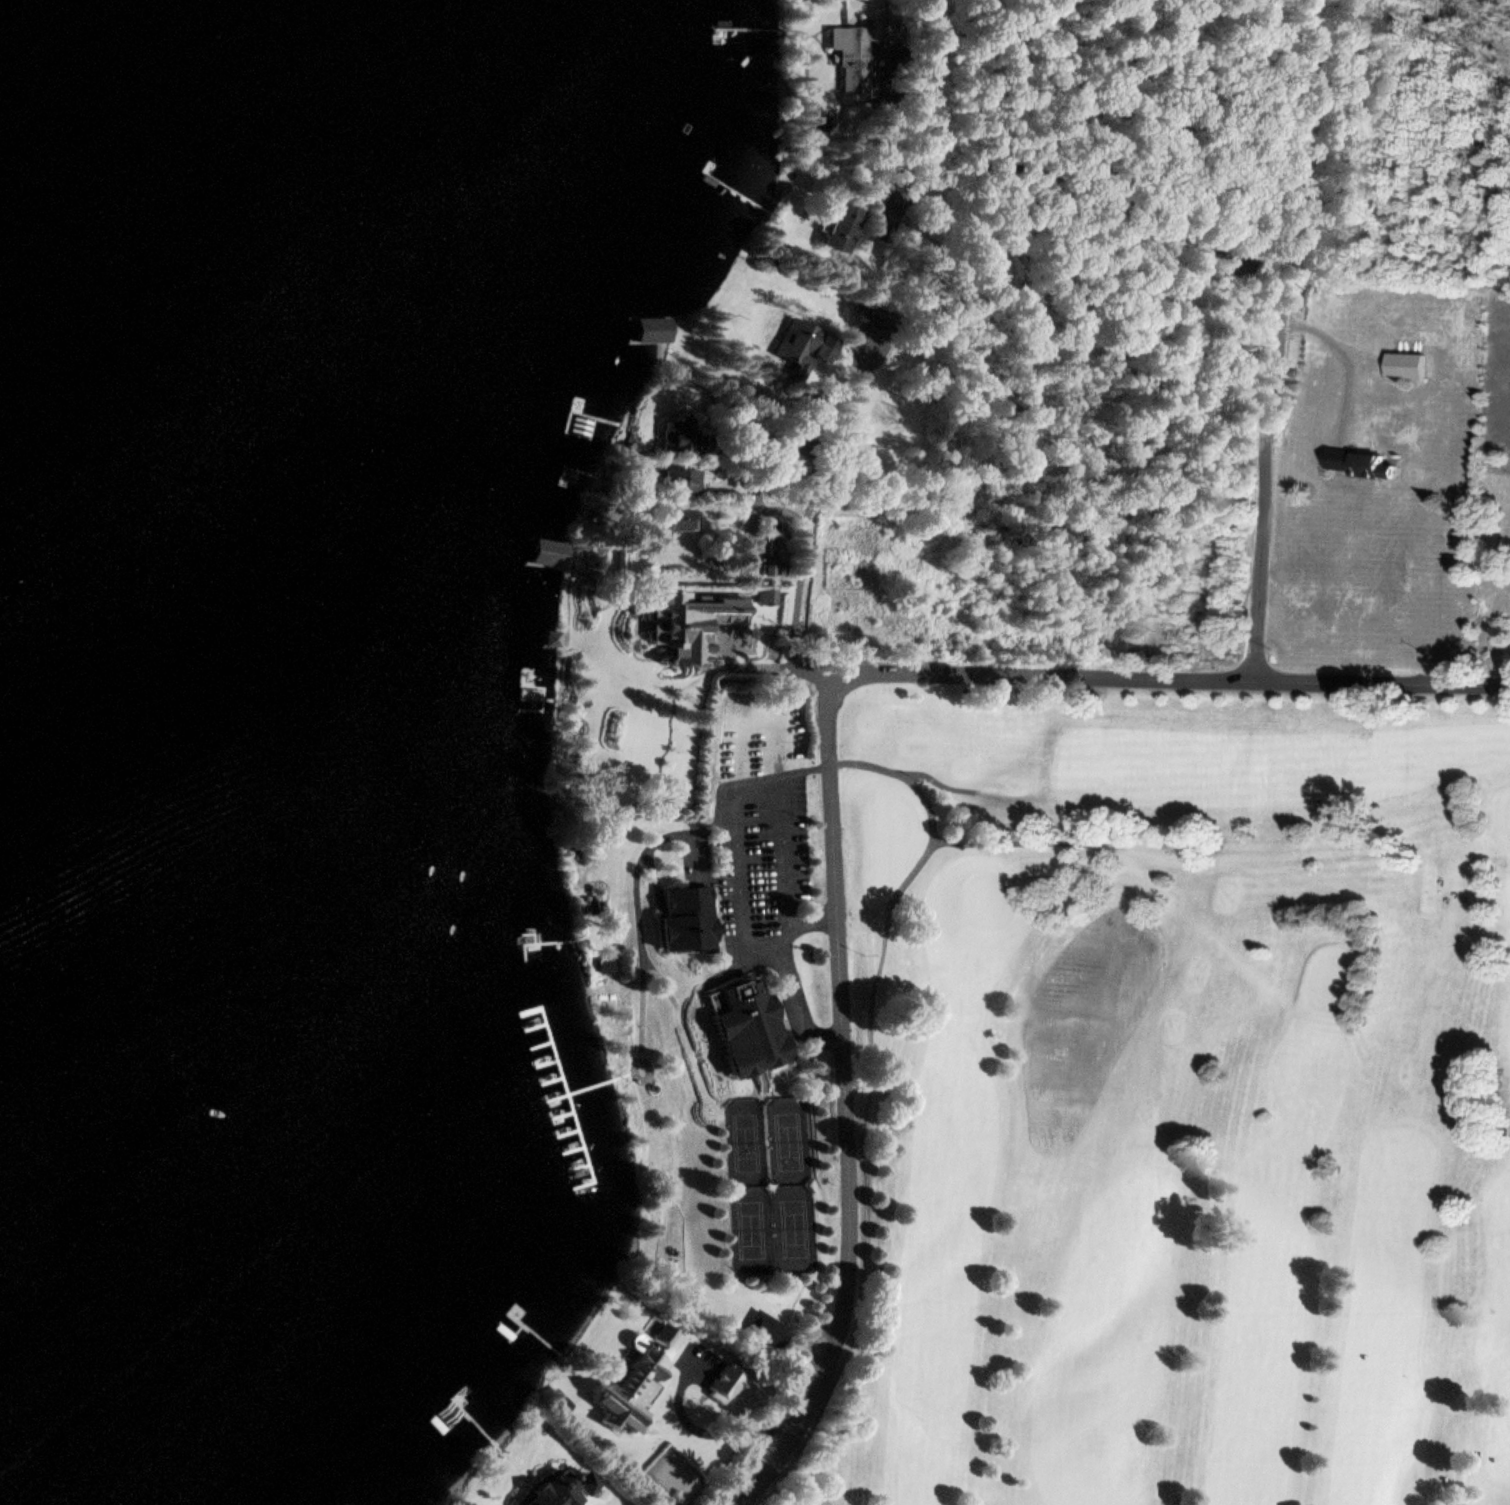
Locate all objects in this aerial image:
building: (857, 50)
road: (1103, 194)
building: (841, 226)
building: (652, 329)
road: (1278, 340)
building: (1408, 365)
building: (587, 424)
building: (679, 439)
building: (1366, 462)
building: (677, 482)
building: (679, 518)
building: (773, 544)
building: (547, 553)
building: (764, 596)
building: (666, 620)
building: (549, 638)
road: (1044, 676)
road: (1381, 683)
road: (736, 841)
parking lot: (767, 879)
building: (688, 917)
road: (701, 989)
building: (745, 1027)
park: (1078, 1074)
road: (846, 1108)
park: (769, 1186)
building: (641, 1372)
building: (556, 1492)

